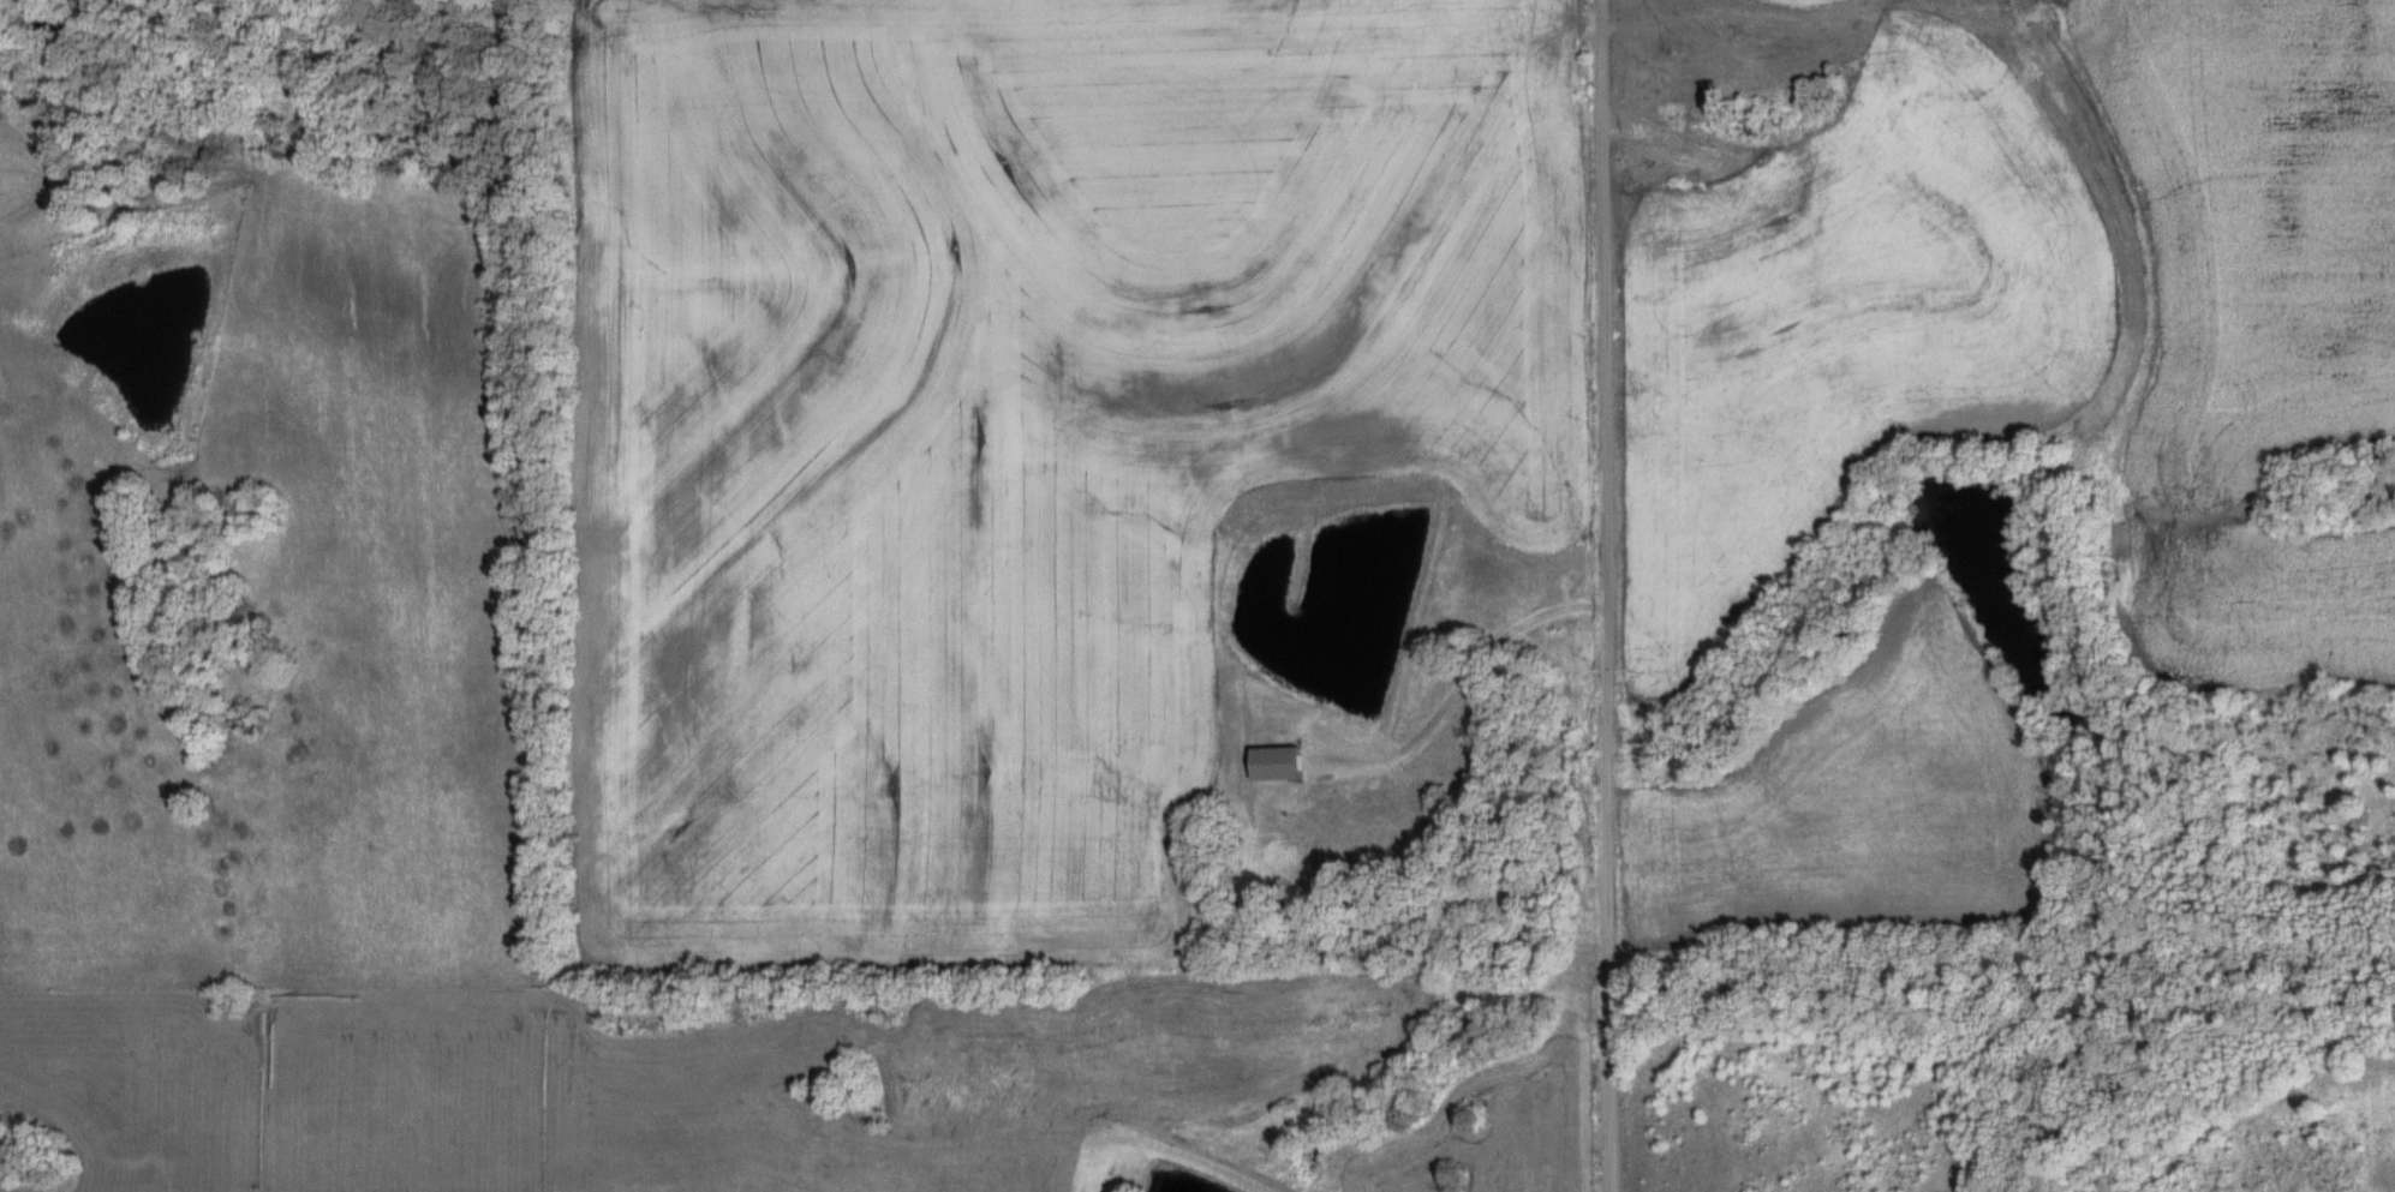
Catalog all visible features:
road: (1606, 595)

